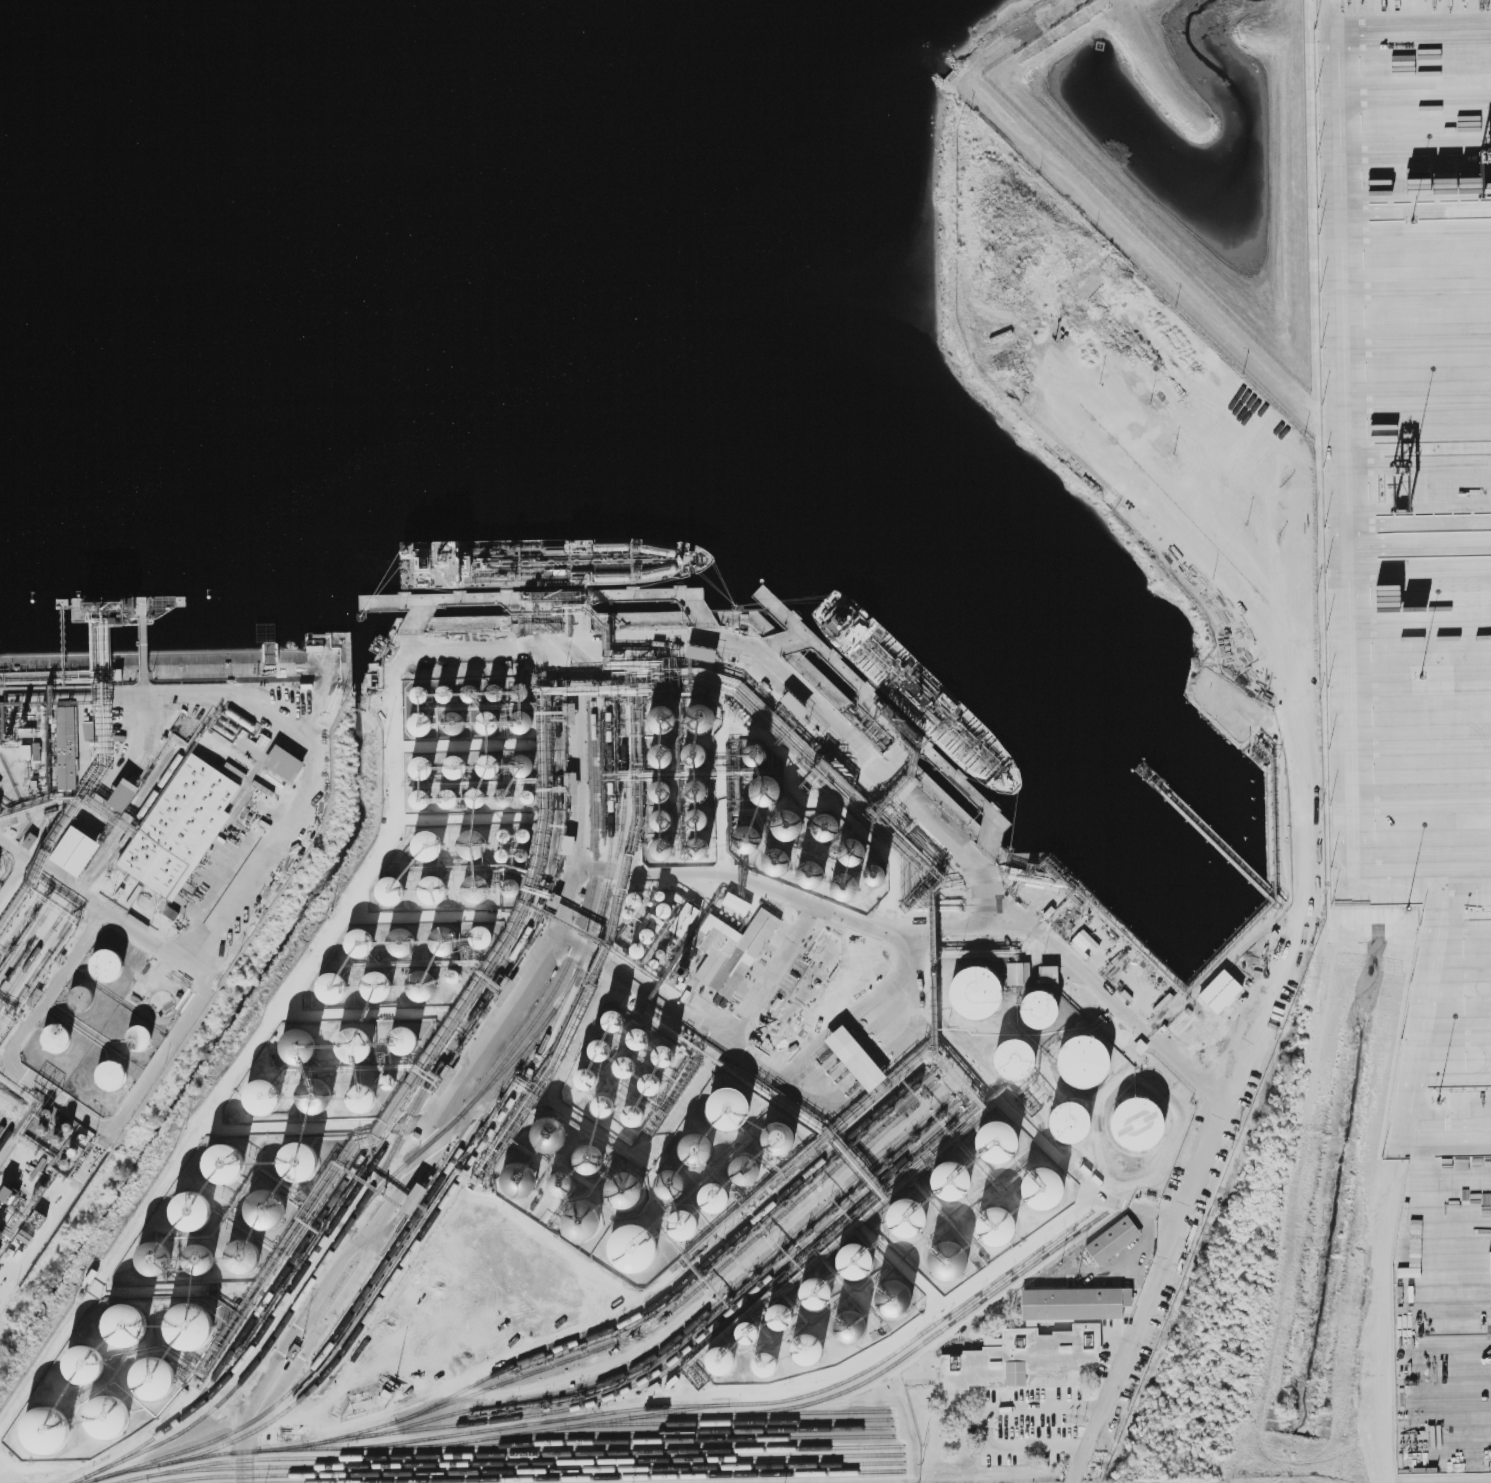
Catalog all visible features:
road: (1342, 531)
road: (406, 653)
building: (701, 653)
building: (524, 689)
storage tank: (524, 689)
building: (449, 690)
storage tank: (449, 690)
building: (474, 690)
storage tank: (474, 690)
building: (499, 690)
storage tank: (499, 690)
building: (423, 691)
storage tank: (423, 691)
building: (794, 705)
building: (708, 713)
storage tank: (708, 713)
building: (668, 714)
storage tank: (668, 714)
building: (524, 718)
storage tank: (524, 718)
building: (492, 719)
storage tank: (492, 719)
building: (458, 720)
storage tank: (458, 720)
building: (424, 721)
storage tank: (424, 721)
building: (0, 728)
building: (69, 747)
building: (667, 749)
storage tank: (667, 749)
building: (701, 749)
storage tank: (701, 749)
building: (748, 749)
storage tank: (748, 749)
building: (26, 752)
building: (284, 763)
building: (424, 763)
storage tank: (424, 763)
building: (458, 763)
storage tank: (458, 763)
building: (493, 763)
storage tank: (493, 763)
building: (526, 763)
storage tank: (526, 763)
building: (702, 785)
storage tank: (702, 785)
building: (757, 785)
storage tank: (757, 785)
building: (666, 786)
storage tank: (666, 786)
building: (126, 793)
building: (451, 795)
storage tank: (451, 795)
building: (507, 795)
storage tank: (507, 795)
building: (531, 795)
storage tank: (531, 795)
building: (423, 796)
storage tank: (423, 796)
building: (480, 796)
storage tank: (480, 796)
road: (1309, 806)
railway: (623, 813)
building: (703, 814)
storage tank: (703, 814)
building: (668, 815)
storage tank: (668, 815)
building: (779, 819)
storage tank: (779, 819)
building: (820, 822)
storage tank: (820, 822)
building: (183, 828)
building: (508, 834)
storage tank: (508, 834)
building: (528, 834)
storage tank: (528, 834)
building: (742, 835)
storage tank: (742, 835)
railway: (113, 837)
building: (29, 841)
building: (477, 842)
storage tank: (477, 842)
building: (703, 843)
storage tank: (703, 843)
building: (431, 844)
storage tank: (431, 844)
building: (667, 844)
storage tank: (667, 844)
building: (568, 845)
building: (845, 848)
storage tank: (845, 848)
building: (79, 850)
building: (526, 853)
storage tank: (526, 853)
building: (506, 854)
storage tank: (506, 854)
building: (772, 857)
storage tank: (772, 857)
building: (800, 867)
storage tank: (800, 867)
building: (869, 870)
storage tank: (869, 870)
road: (52, 873)
road: (14, 878)
railway: (91, 879)
building: (841, 884)
storage tank: (841, 884)
building: (515, 885)
storage tank: (515, 885)
building: (480, 887)
storage tank: (480, 887)
road: (247, 888)
building: (394, 888)
storage tank: (394, 888)
building: (436, 888)
storage tank: (436, 888)
building: (638, 898)
storage tank: (638, 898)
building: (669, 908)
storage tank: (669, 908)
building: (170, 913)
railway: (23, 919)
building: (689, 919)
road: (1019, 922)
building: (652, 934)
storage tank: (652, 934)
building: (485, 936)
storage tank: (485, 936)
railway: (30, 937)
building: (405, 939)
storage tank: (405, 939)
building: (447, 939)
storage tank: (447, 939)
building: (362, 941)
storage tank: (362, 941)
building: (642, 948)
storage tank: (642, 948)
building: (734, 950)
building: (108, 964)
storage tank: (108, 964)
building: (1019, 974)
building: (814, 983)
building: (380, 984)
storage tank: (380, 984)
building: (425, 985)
storage tank: (425, 985)
building: (334, 986)
storage tank: (334, 986)
road: (50, 990)
building: (981, 990)
storage tank: (981, 990)
building: (1220, 991)
building: (84, 997)
storage tank: (84, 997)
building: (1045, 1008)
storage tank: (1045, 1008)
building: (613, 1021)
road: (713, 1032)
road: (822, 1035)
building: (142, 1036)
storage tank: (142, 1036)
building: (312, 1036)
storage tank: (312, 1036)
building: (57, 1037)
storage tank: (57, 1037)
building: (368, 1037)
storage tank: (368, 1037)
building: (638, 1039)
building: (403, 1041)
building: (295, 1042)
building: (354, 1045)
building: (599, 1050)
building: (663, 1056)
building: (1011, 1057)
storage tank: (1011, 1057)
building: (855, 1058)
building: (1090, 1060)
storage tank: (1090, 1060)
railway: (510, 1064)
building: (112, 1074)
storage tank: (112, 1074)
building: (586, 1079)
building: (649, 1084)
building: (331, 1087)
storage tank: (331, 1087)
railway: (424, 1088)
building: (278, 1089)
storage tank: (278, 1089)
building: (315, 1096)
building: (262, 1097)
building: (361, 1099)
building: (603, 1107)
building: (734, 1107)
storage tank: (734, 1107)
road: (1000, 1108)
railway: (2, 1110)
building: (632, 1116)
building: (1065, 1119)
storage tank: (1065, 1119)
railway: (6, 1121)
building: (1144, 1122)
storage tank: (1144, 1122)
railway: (10, 1131)
building: (554, 1132)
storage tank: (554, 1132)
building: (784, 1136)
storage tank: (784, 1136)
road: (1448, 1136)
building: (995, 1139)
storage tank: (995, 1139)
railway: (431, 1142)
building: (702, 1147)
storage tank: (702, 1147)
railway: (391, 1157)
building: (587, 1158)
storage tank: (587, 1158)
building: (304, 1160)
storage tank: (304, 1160)
railway: (453, 1160)
building: (231, 1163)
storage tank: (231, 1163)
building: (751, 1168)
storage tank: (751, 1168)
road: (409, 1176)
building: (959, 1178)
storage tank: (959, 1178)
building: (523, 1179)
storage tank: (523, 1179)
building: (675, 1182)
storage tank: (675, 1182)
building: (614, 1183)
storage tank: (614, 1183)
building: (563, 1185)
storage tank: (563, 1185)
building: (1050, 1186)
storage tank: (1050, 1186)
building: (719, 1196)
storage tank: (719, 1196)
building: (411, 1202)
building: (270, 1209)
storage tank: (270, 1209)
building: (196, 1211)
storage tank: (196, 1211)
building: (914, 1216)
storage tank: (914, 1216)
building: (578, 1217)
storage tank: (578, 1217)
building: (688, 1223)
storage tank: (688, 1223)
building: (1004, 1225)
storage tank: (1004, 1225)
building: (1112, 1241)
building: (638, 1246)
storage tank: (638, 1246)
building: (242, 1256)
railway: (406, 1258)
building: (152, 1259)
building: (955, 1259)
storage tank: (955, 1259)
building: (198, 1260)
building: (861, 1260)
storage tank: (861, 1260)
railway: (692, 1292)
building: (821, 1293)
storage tank: (821, 1293)
building: (900, 1296)
storage tank: (900, 1296)
building: (1075, 1304)
road: (1386, 1309)
building: (785, 1316)
storage tank: (785, 1316)
building: (1119, 1316)
railway: (627, 1321)
building: (128, 1324)
storage tank: (128, 1324)
building: (189, 1325)
storage tank: (189, 1325)
building: (856, 1325)
storage tank: (856, 1325)
railway: (687, 1330)
building: (753, 1332)
storage tank: (753, 1332)
railway: (239, 1338)
building: (813, 1348)
storage tank: (813, 1348)
railway: (674, 1358)
building: (726, 1359)
storage tank: (726, 1359)
railway: (881, 1362)
building: (770, 1363)
storage tank: (770, 1363)
building: (84, 1366)
storage tank: (84, 1366)
building: (153, 1378)
storage tank: (153, 1378)
road: (1015, 1390)
road: (1065, 1392)
railway: (813, 1412)
building: (103, 1417)
storage tank: (103, 1417)
railway: (622, 1419)
railway: (538, 1422)
railway: (727, 1422)
road: (1021, 1426)
railway: (695, 1430)
building: (47, 1431)
storage tank: (47, 1431)
railway: (646, 1441)
railway: (524, 1453)
railway: (509, 1462)
railway: (530, 1470)
railway: (599, 1477)

